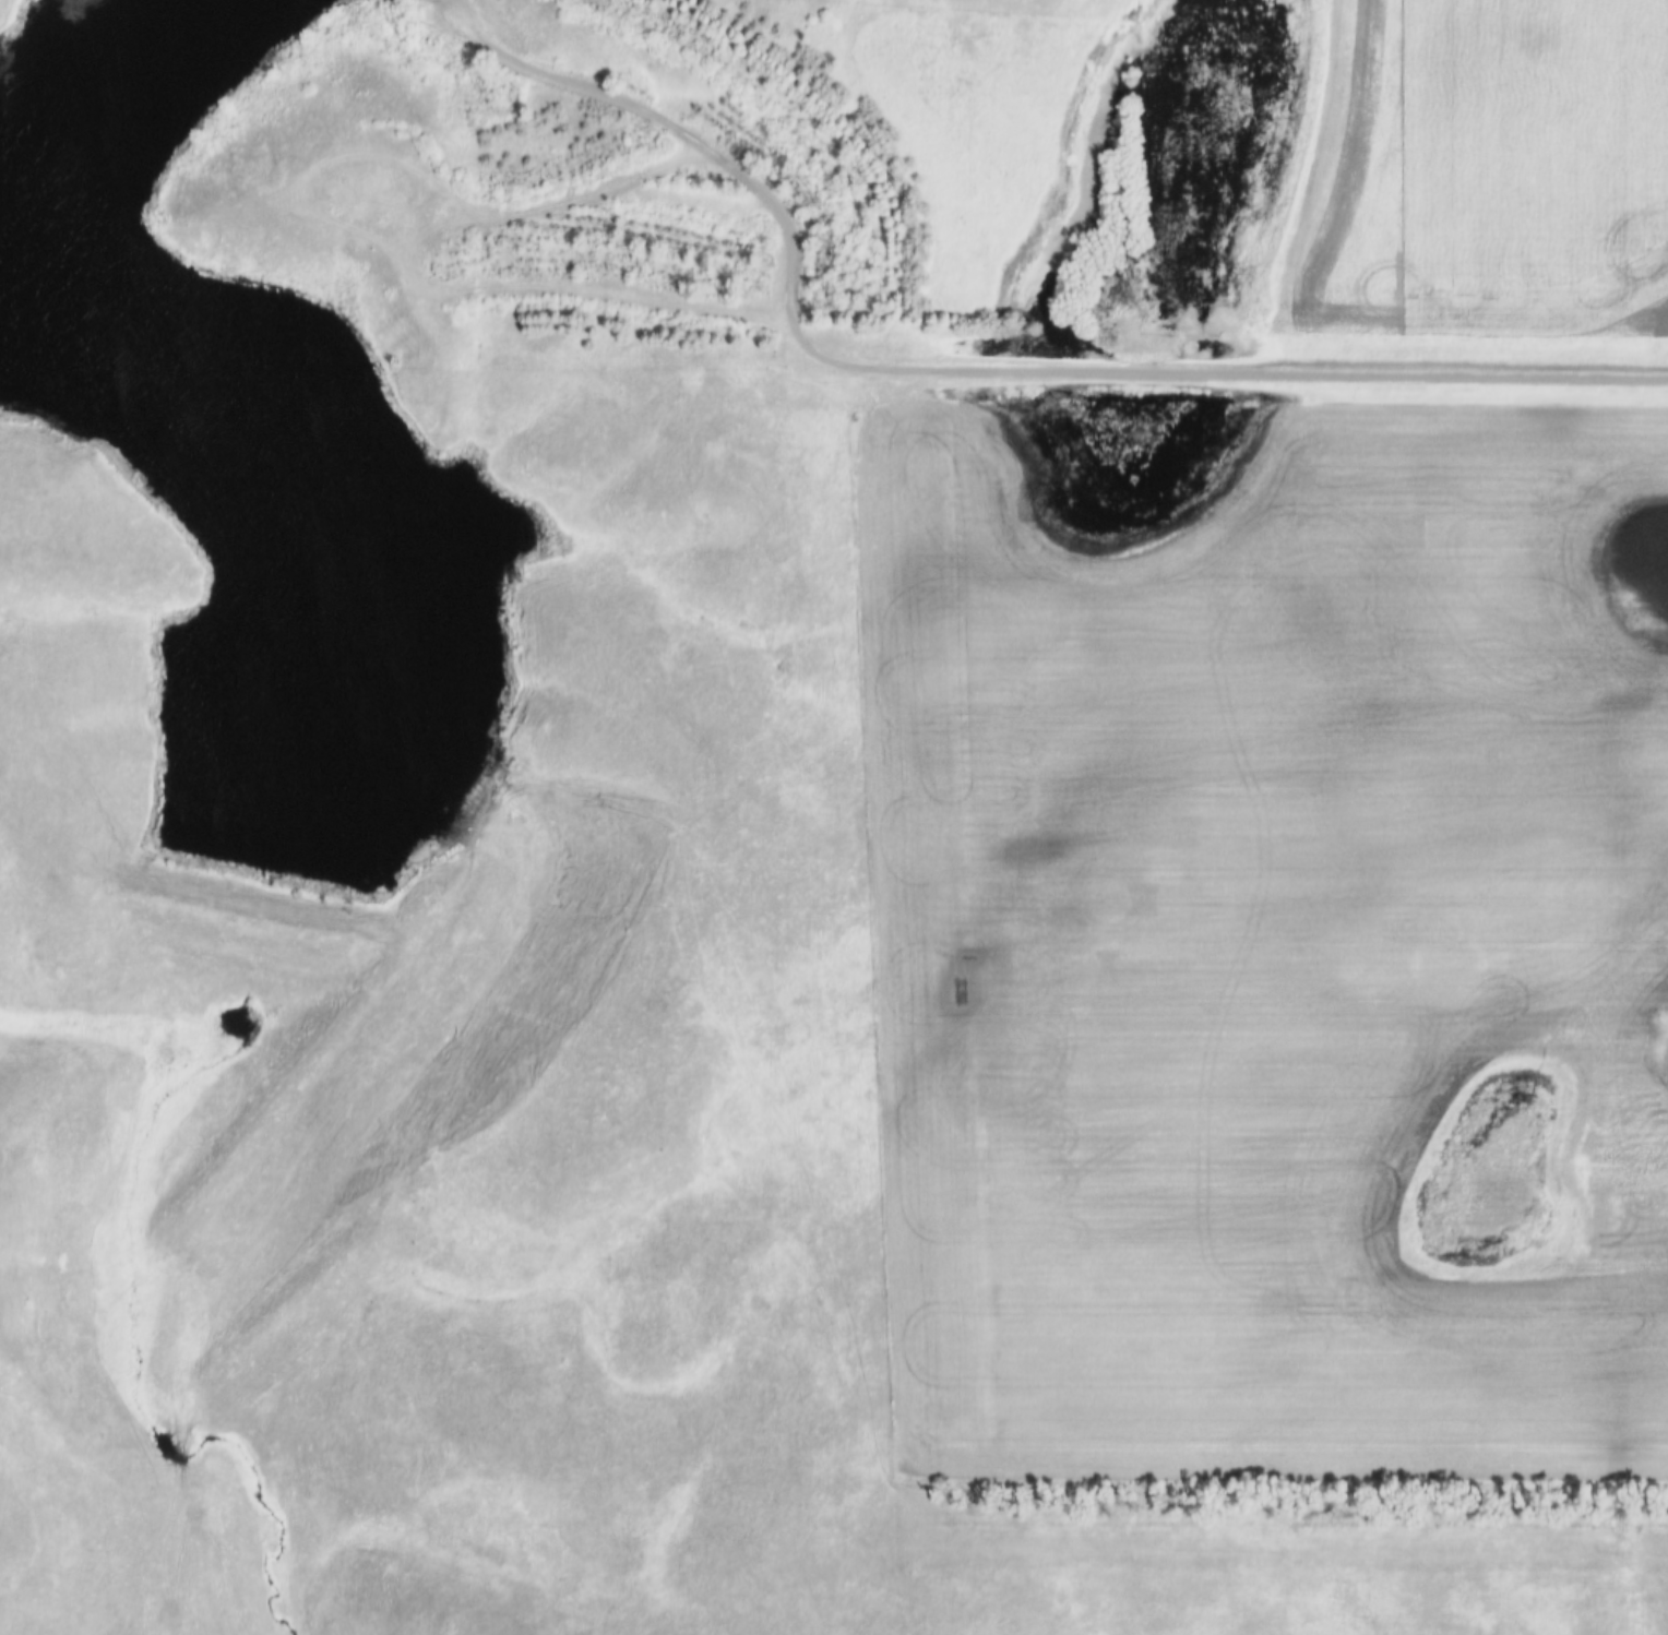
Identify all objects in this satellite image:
road: (437, 0)
road: (472, 22)
road: (453, 27)
road: (992, 370)

